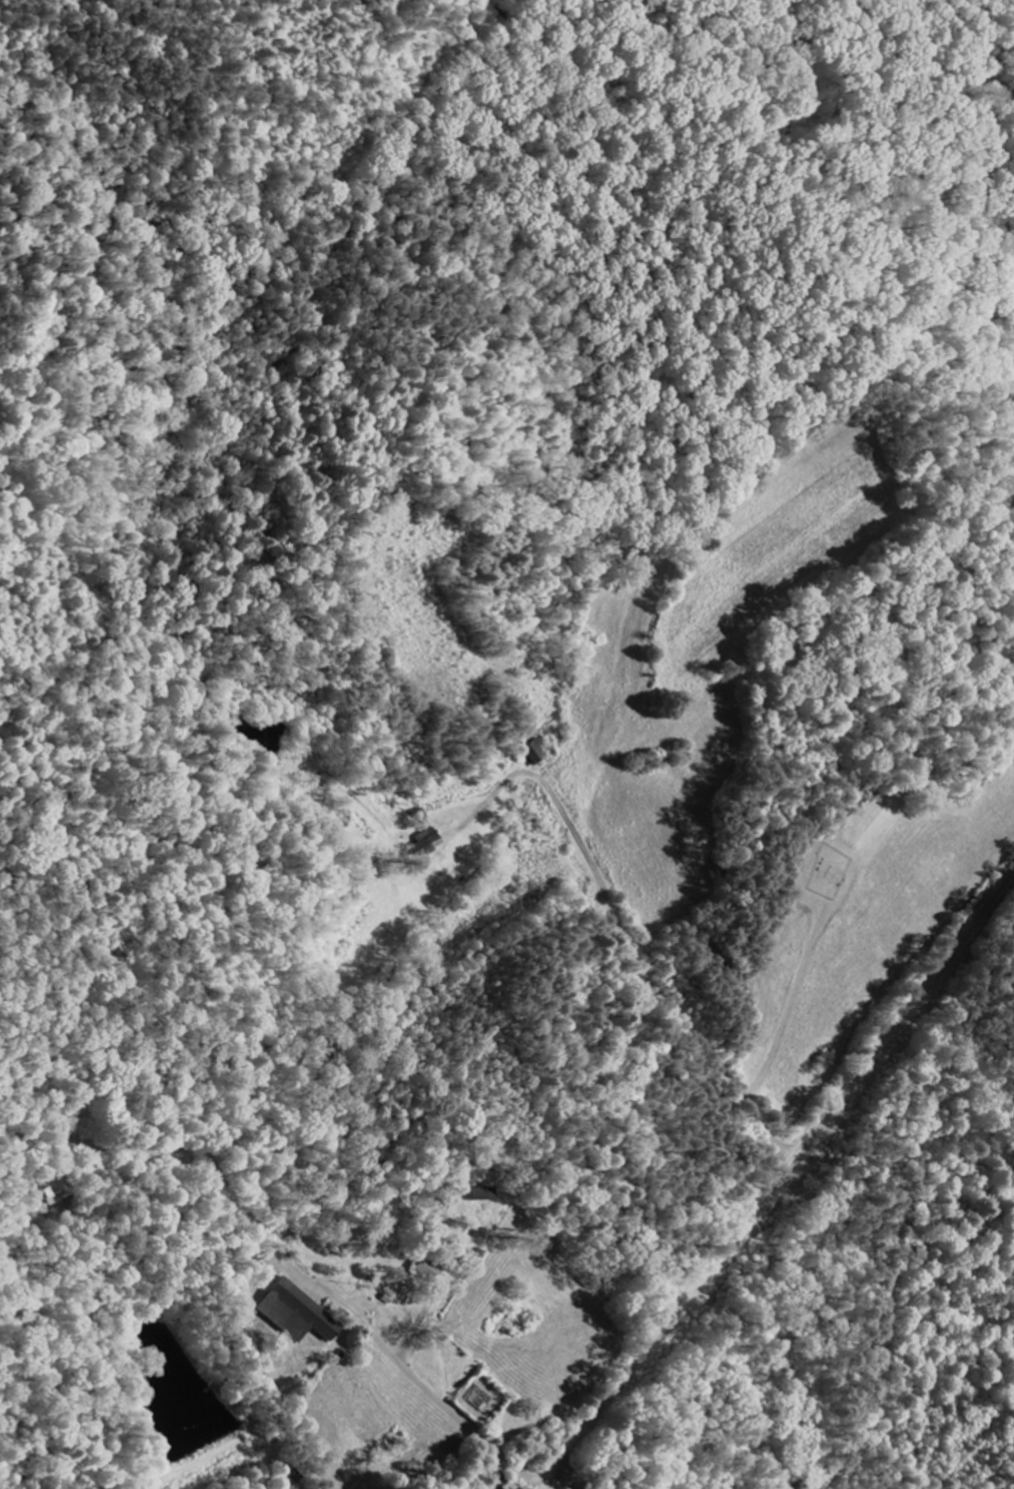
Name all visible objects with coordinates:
building: (534, 749)
building: (419, 812)
building: (425, 838)
road: (736, 1113)
road: (100, 1156)
road: (779, 1177)
building: (52, 1187)
building: (484, 1187)
building: (428, 1266)
building: (294, 1310)
road: (373, 1333)
building: (501, 1479)
road: (549, 1485)

